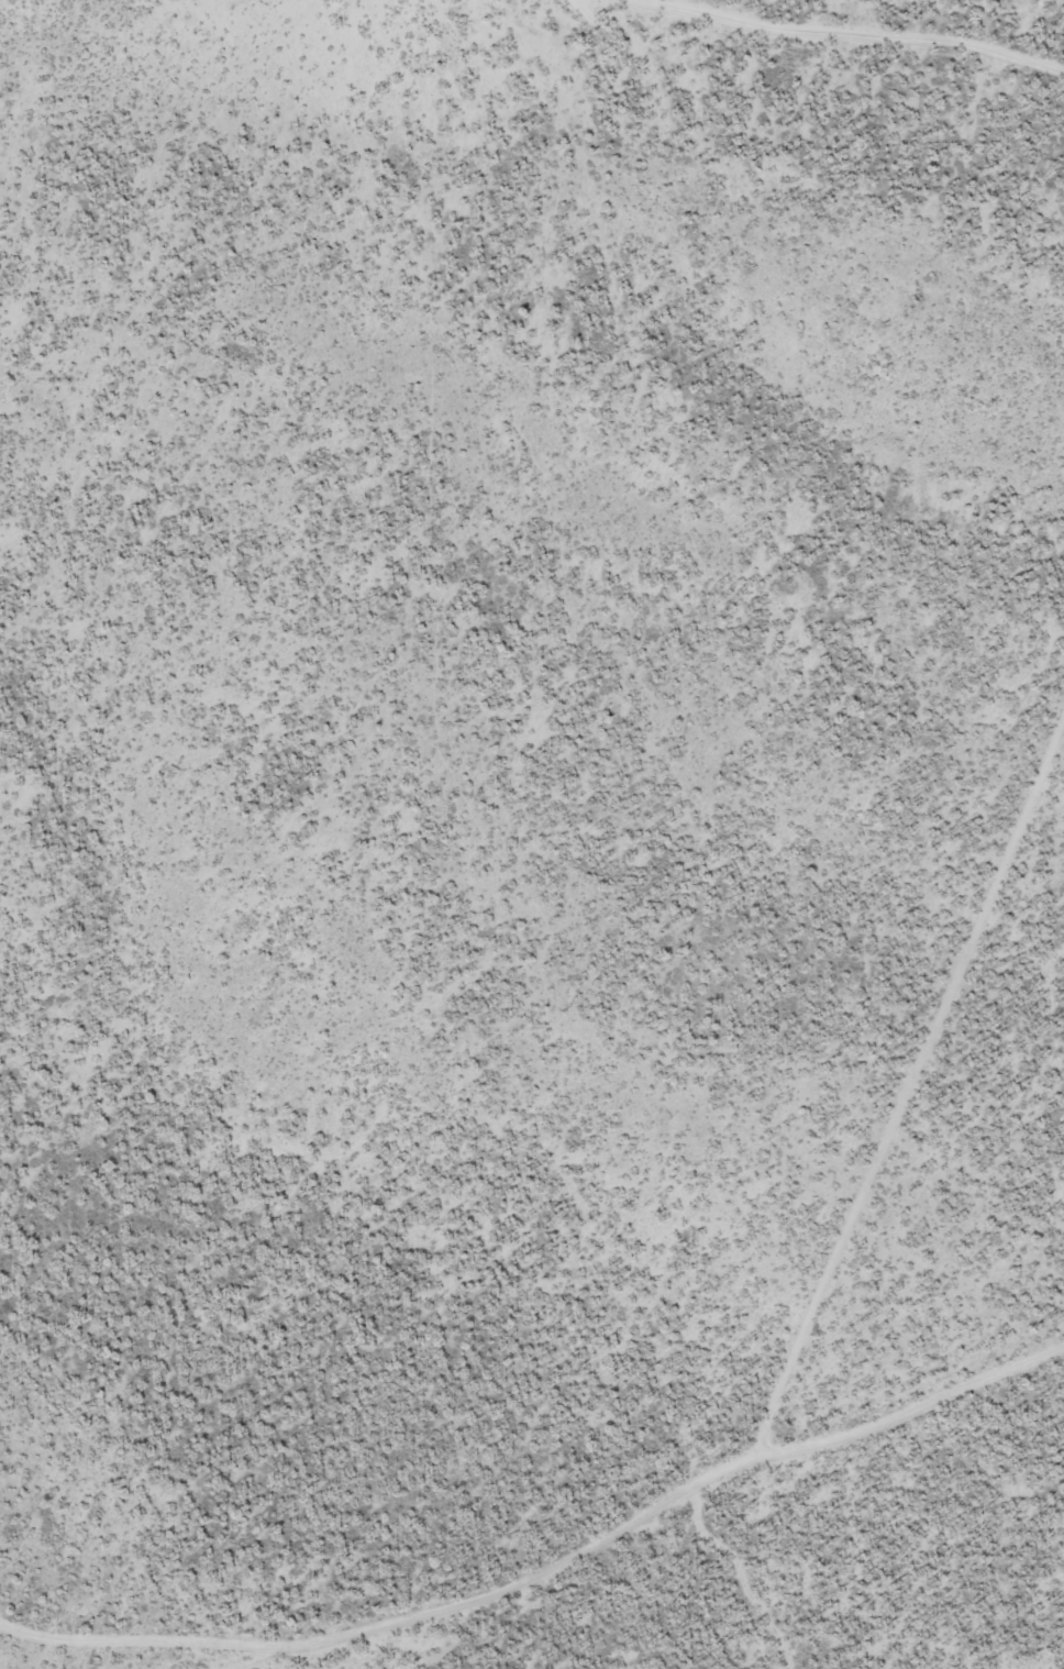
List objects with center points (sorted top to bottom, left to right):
road: (858, 38)
road: (907, 1093)
road: (707, 1480)
road: (740, 1577)
road: (302, 1646)

